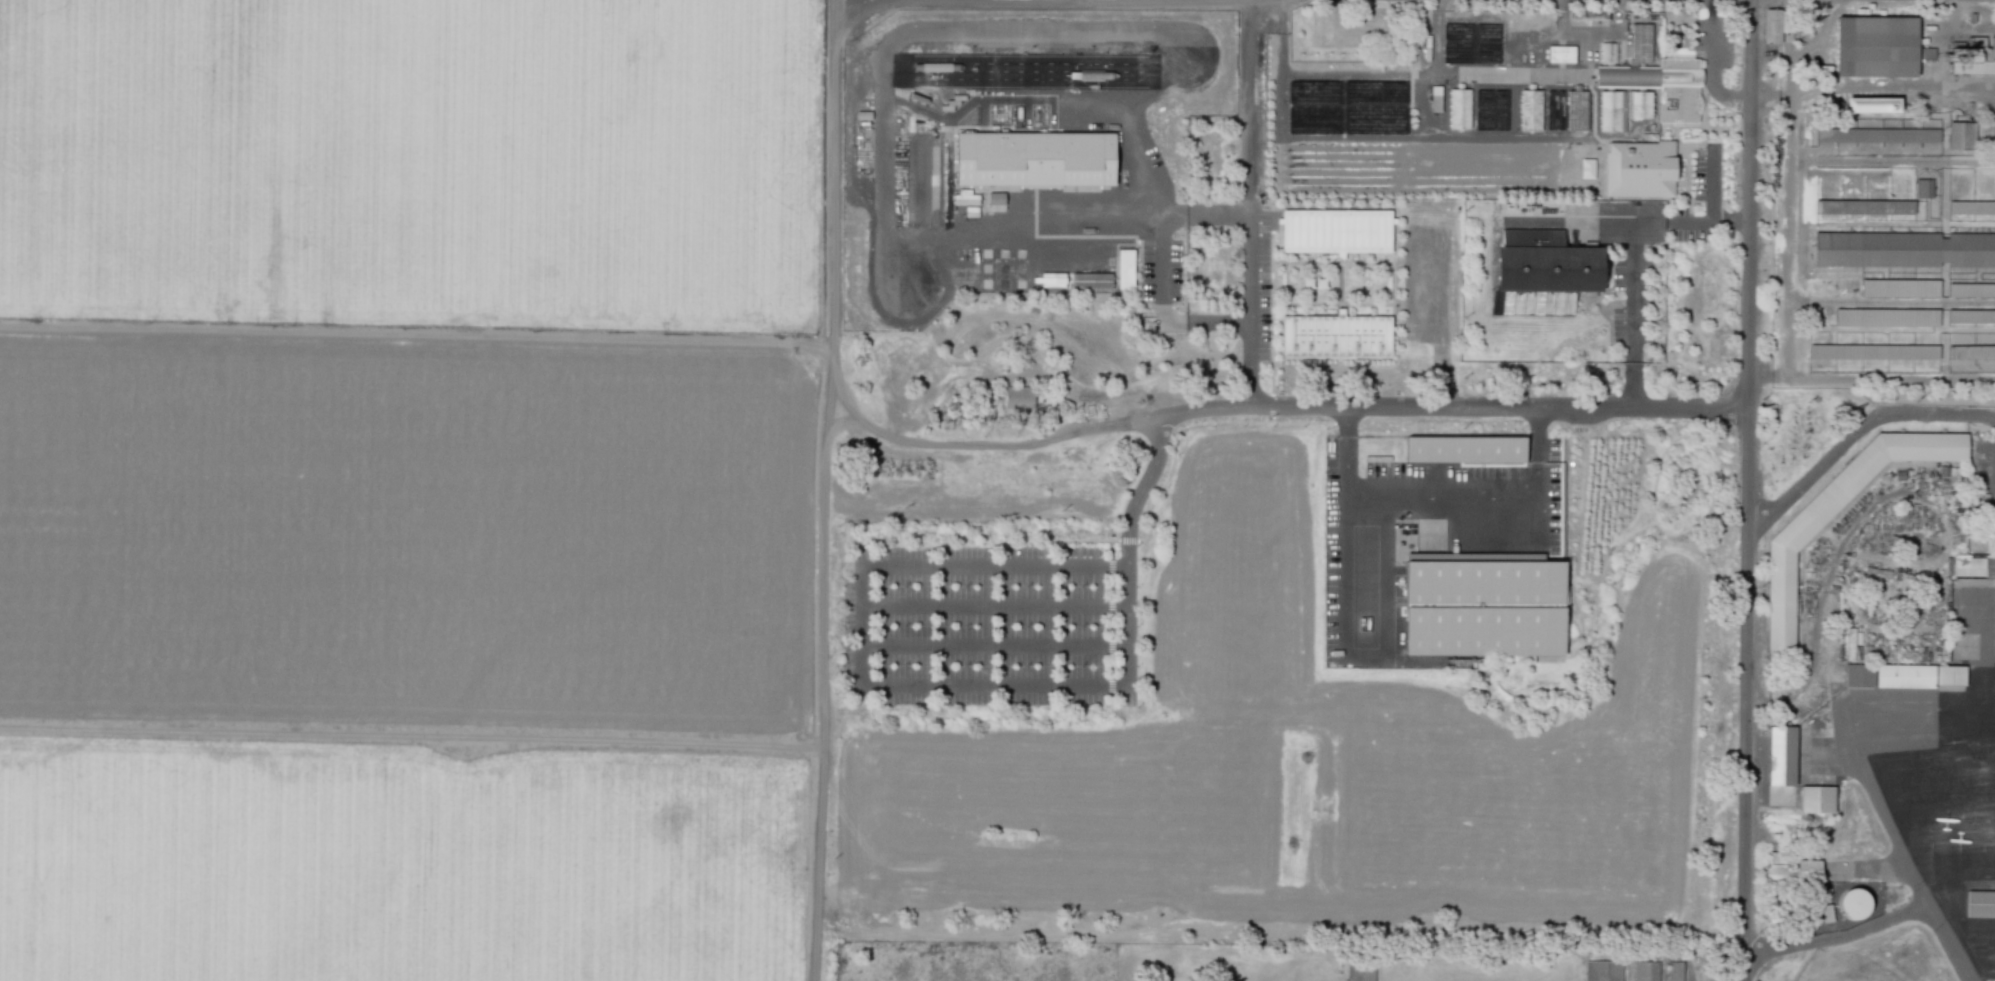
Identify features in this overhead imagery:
road: (888, 1)
road: (1017, 2)
building: (1591, 16)
building: (1772, 25)
road: (914, 30)
building: (1644, 43)
road: (860, 46)
building: (1876, 47)
building: (1611, 51)
building: (1536, 53)
building: (1926, 53)
building: (1564, 54)
building: (1973, 57)
road: (1711, 63)
street lamp: (1721, 70)
building: (1629, 77)
road: (1891, 89)
building: (1680, 92)
building: (1435, 98)
building: (1644, 103)
building: (1872, 104)
street lamp: (1728, 105)
road: (1247, 108)
building: (1462, 109)
building: (1533, 109)
building: (1580, 109)
building: (1613, 110)
building: (1877, 135)
building: (1960, 135)
street lamp: (1702, 147)
building: (1038, 160)
road: (1837, 161)
building: (1587, 168)
building: (1642, 168)
street lamp: (1723, 175)
road: (1712, 184)
building: (1923, 188)
building: (1863, 207)
building: (1971, 207)
road: (1708, 221)
building: (1339, 230)
building: (1904, 249)
road: (1631, 253)
road: (1332, 261)
building: (1125, 268)
building: (1546, 269)
road: (1788, 269)
road: (1244, 270)
parking lot: (1162, 271)
building: (1048, 279)
building: (1091, 280)
parking lot: (1262, 285)
building: (1899, 287)
building: (1971, 290)
parking lot: (1634, 300)
road: (1891, 302)
road: (1332, 303)
road: (1163, 306)
road: (1272, 312)
building: (1971, 316)
building: (1886, 317)
building: (1338, 336)
road: (416, 338)
building: (1873, 351)
building: (1971, 351)
road: (1870, 377)
building: (1019, 396)
road: (1272, 405)
road: (1452, 407)
road: (1272, 419)
road: (1193, 425)
road: (1857, 432)
road: (982, 444)
road: (1348, 447)
road: (1536, 448)
building: (1468, 449)
parking lot: (1987, 485)
road: (1442, 488)
road: (1140, 489)
road: (822, 490)
road: (1747, 490)
road: (1127, 541)
building: (1783, 545)
road: (933, 565)
building: (1971, 565)
road: (1363, 568)
street lamp: (902, 585)
street lamp: (964, 585)
street lamp: (1025, 585)
street lamp: (1080, 585)
road: (993, 605)
building: (1484, 608)
parking lot: (989, 624)
street lamp: (902, 625)
street lamp: (1025, 625)
street lamp: (1080, 625)
road: (1126, 625)
street lamp: (964, 626)
building: (1849, 644)
road: (993, 646)
street lamp: (901, 665)
street lamp: (963, 665)
street lamp: (1024, 665)
street lamp: (1079, 665)
building: (1859, 675)
building: (1950, 675)
building: (1904, 676)
road: (993, 685)
airport: (1874, 690)
road: (409, 733)
building: (1780, 755)
airport apron: (1929, 771)
road: (1868, 788)
building: (1816, 799)
building: (1778, 853)
building: (1808, 870)
road: (1888, 870)
building: (1980, 903)
building: (1853, 904)
storage tank: (1853, 904)
building: (1826, 913)
road: (1836, 937)
building: (1603, 970)
building: (1360, 971)
building: (1645, 971)
building: (1675, 971)
airport taxiway: (1968, 980)

